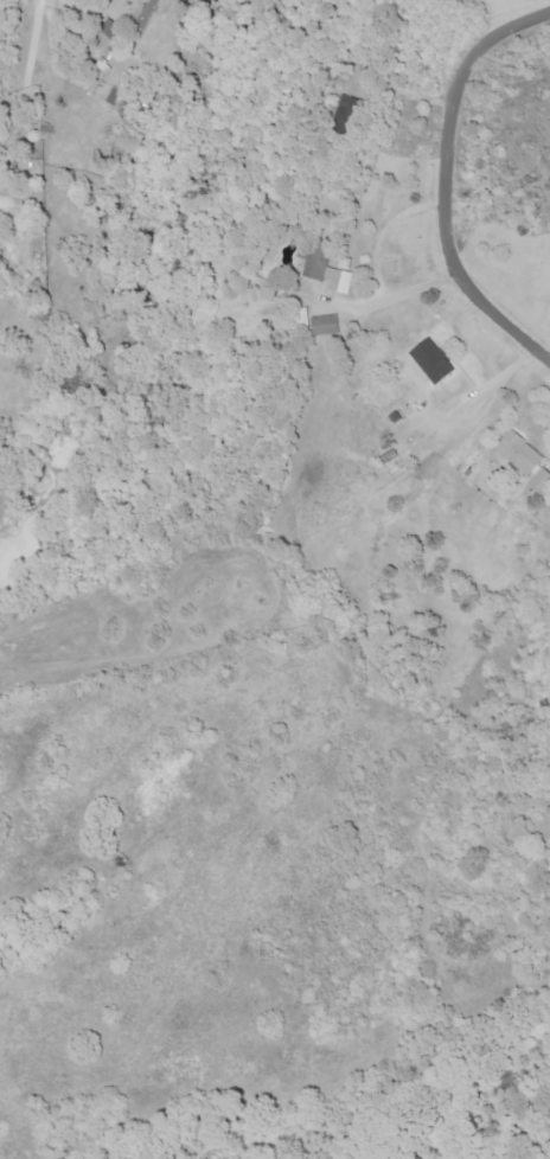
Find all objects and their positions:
building: (145, 13)
road: (34, 32)
building: (108, 37)
road: (453, 177)
road: (388, 233)
building: (325, 267)
road: (410, 296)
building: (302, 319)
building: (326, 325)
building: (435, 360)
building: (522, 452)
building: (541, 479)

